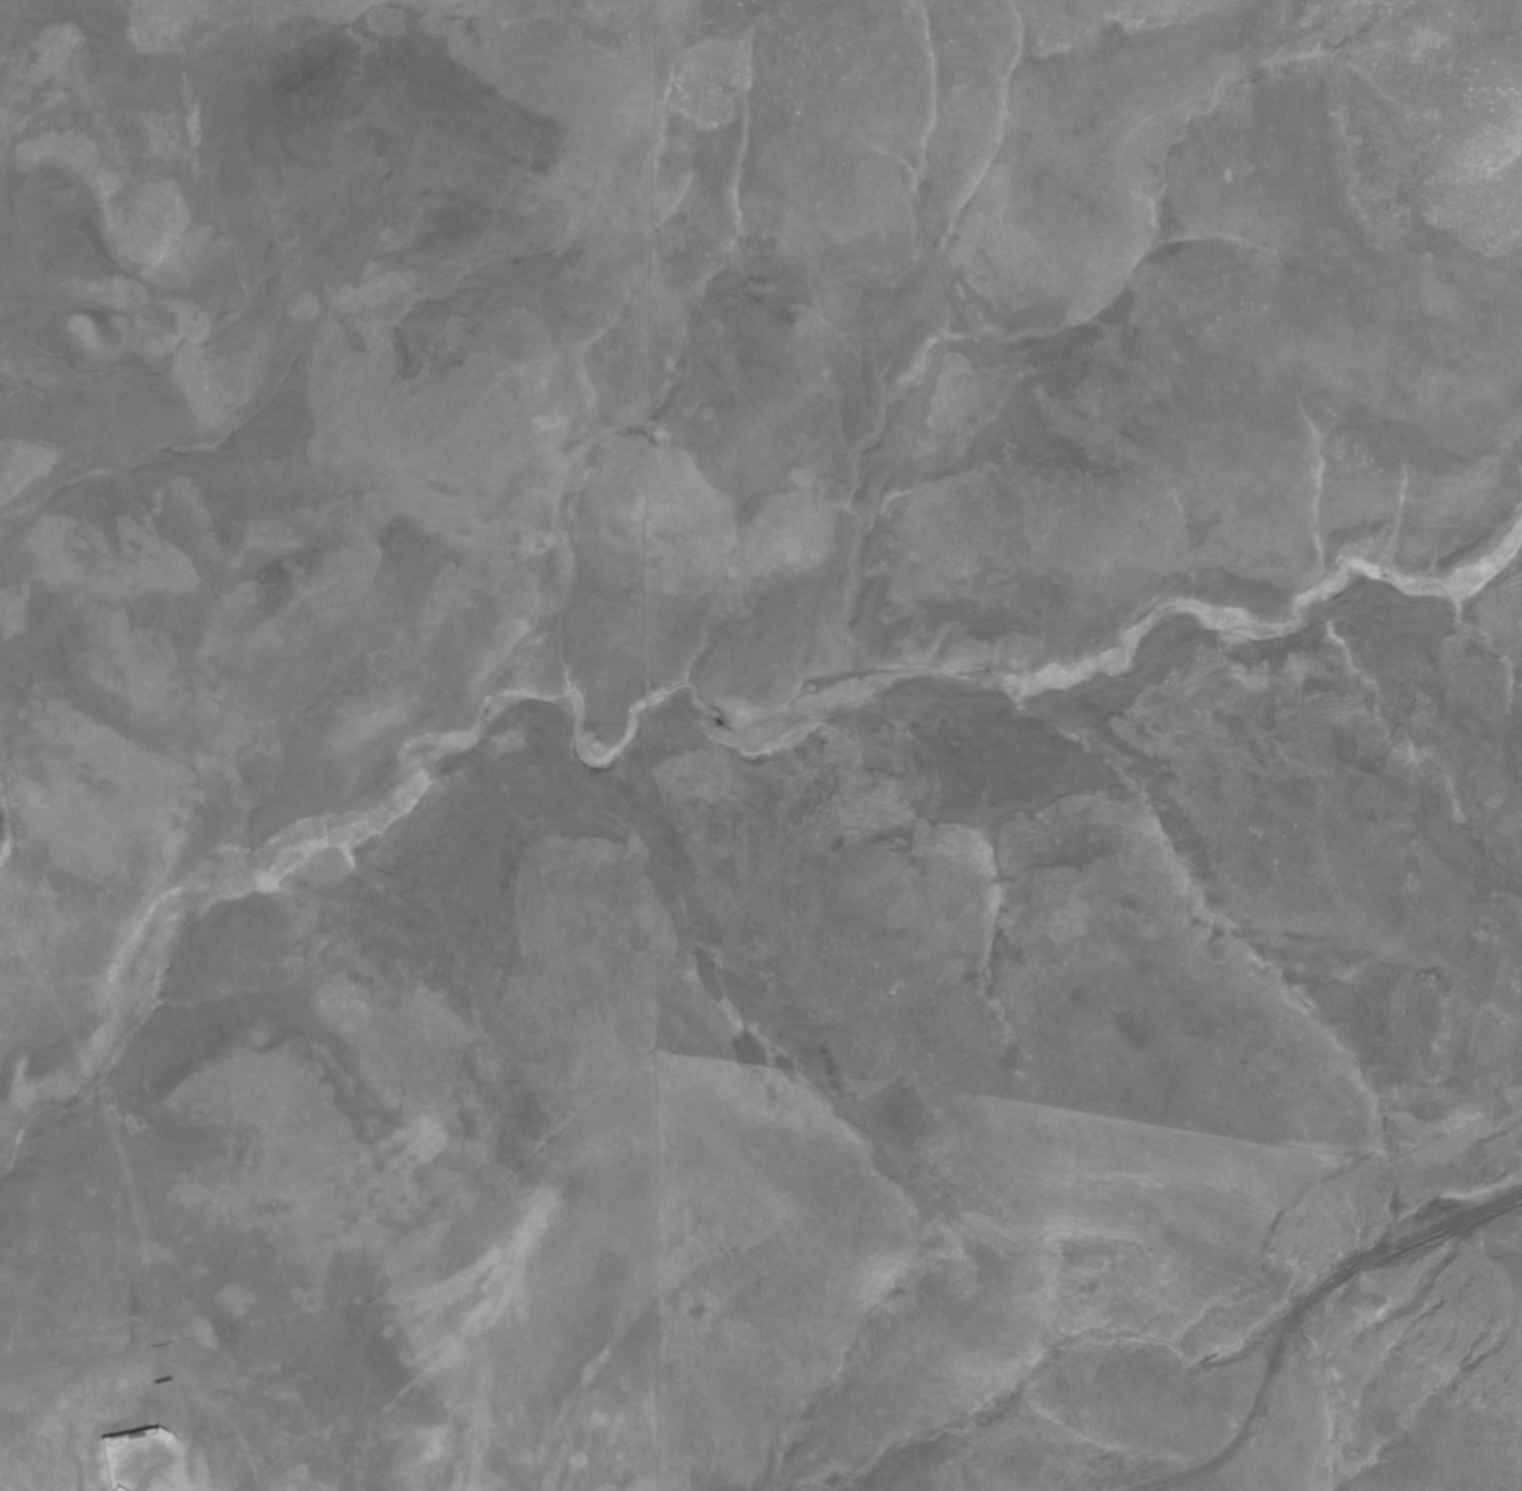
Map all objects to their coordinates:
road: (1310, 1289)

